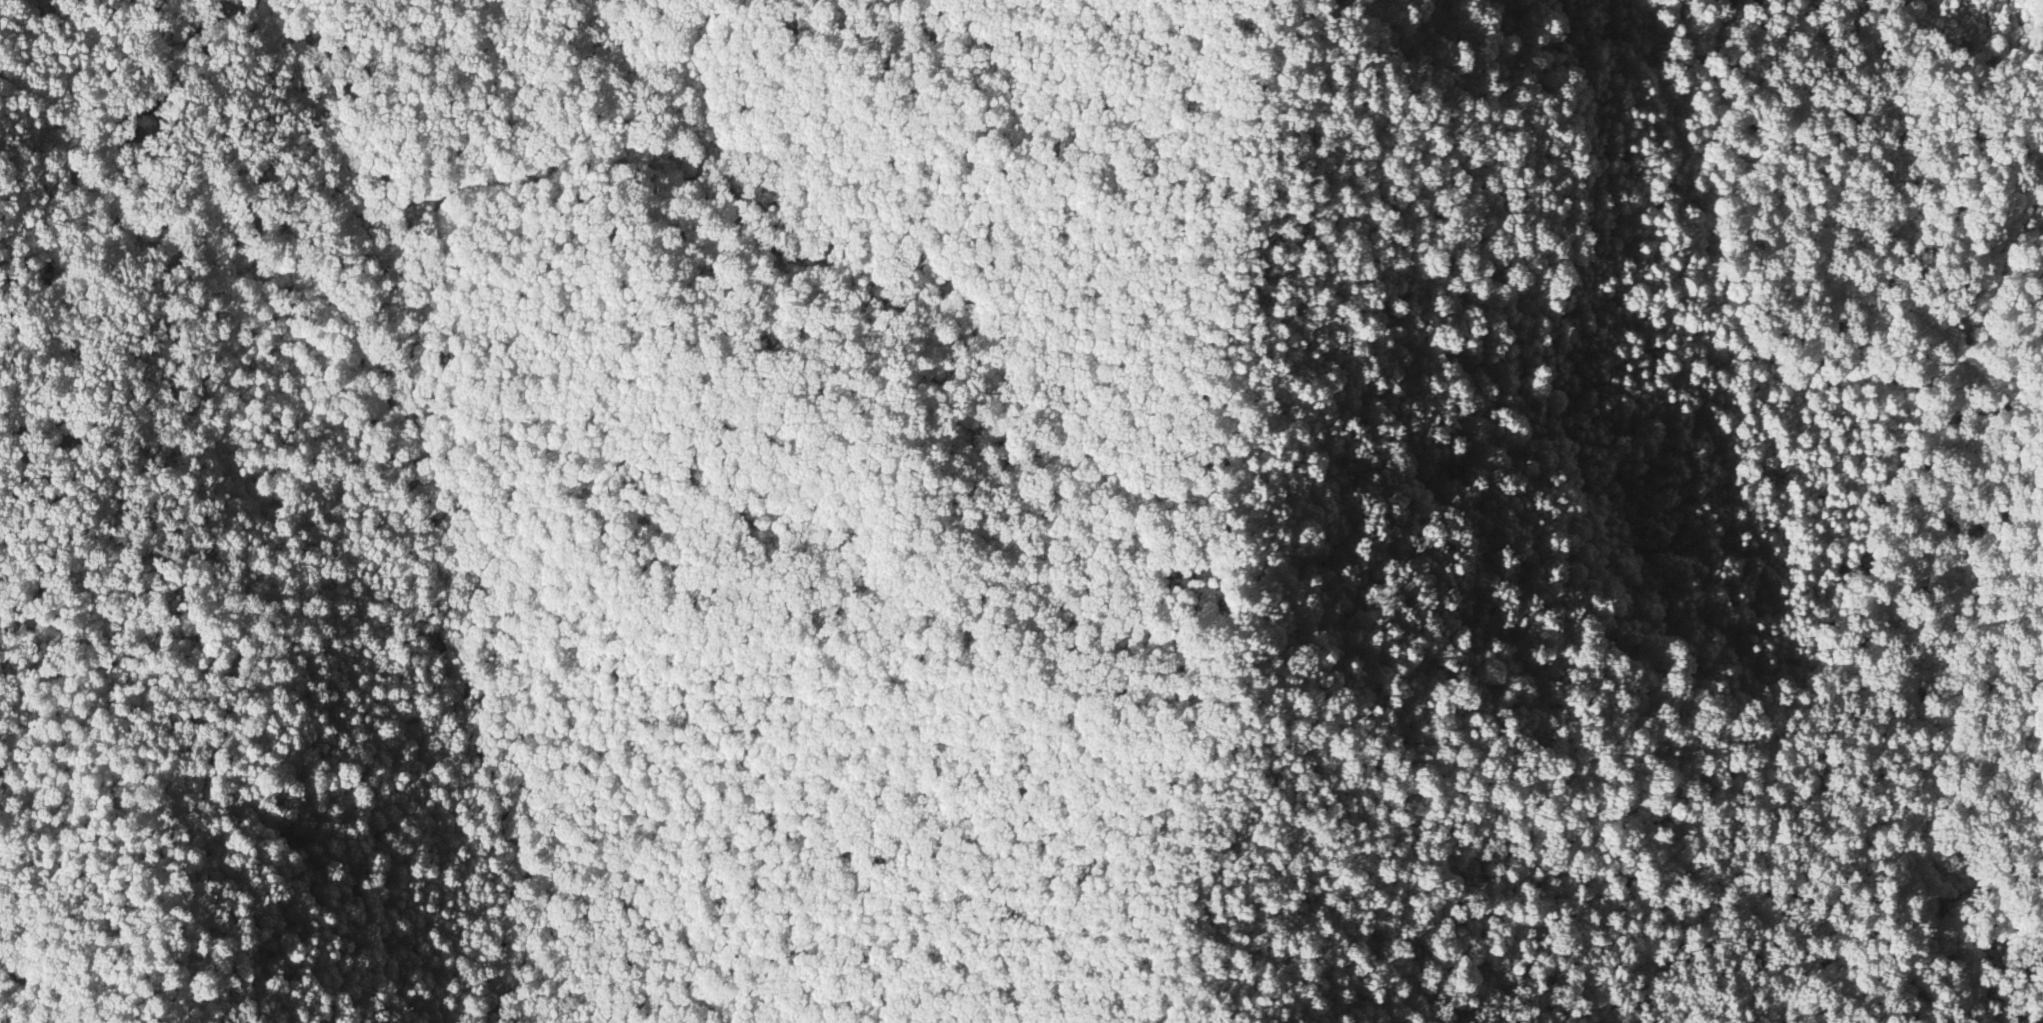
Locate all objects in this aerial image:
road: (401, 335)
road: (1786, 357)
road: (1198, 520)

